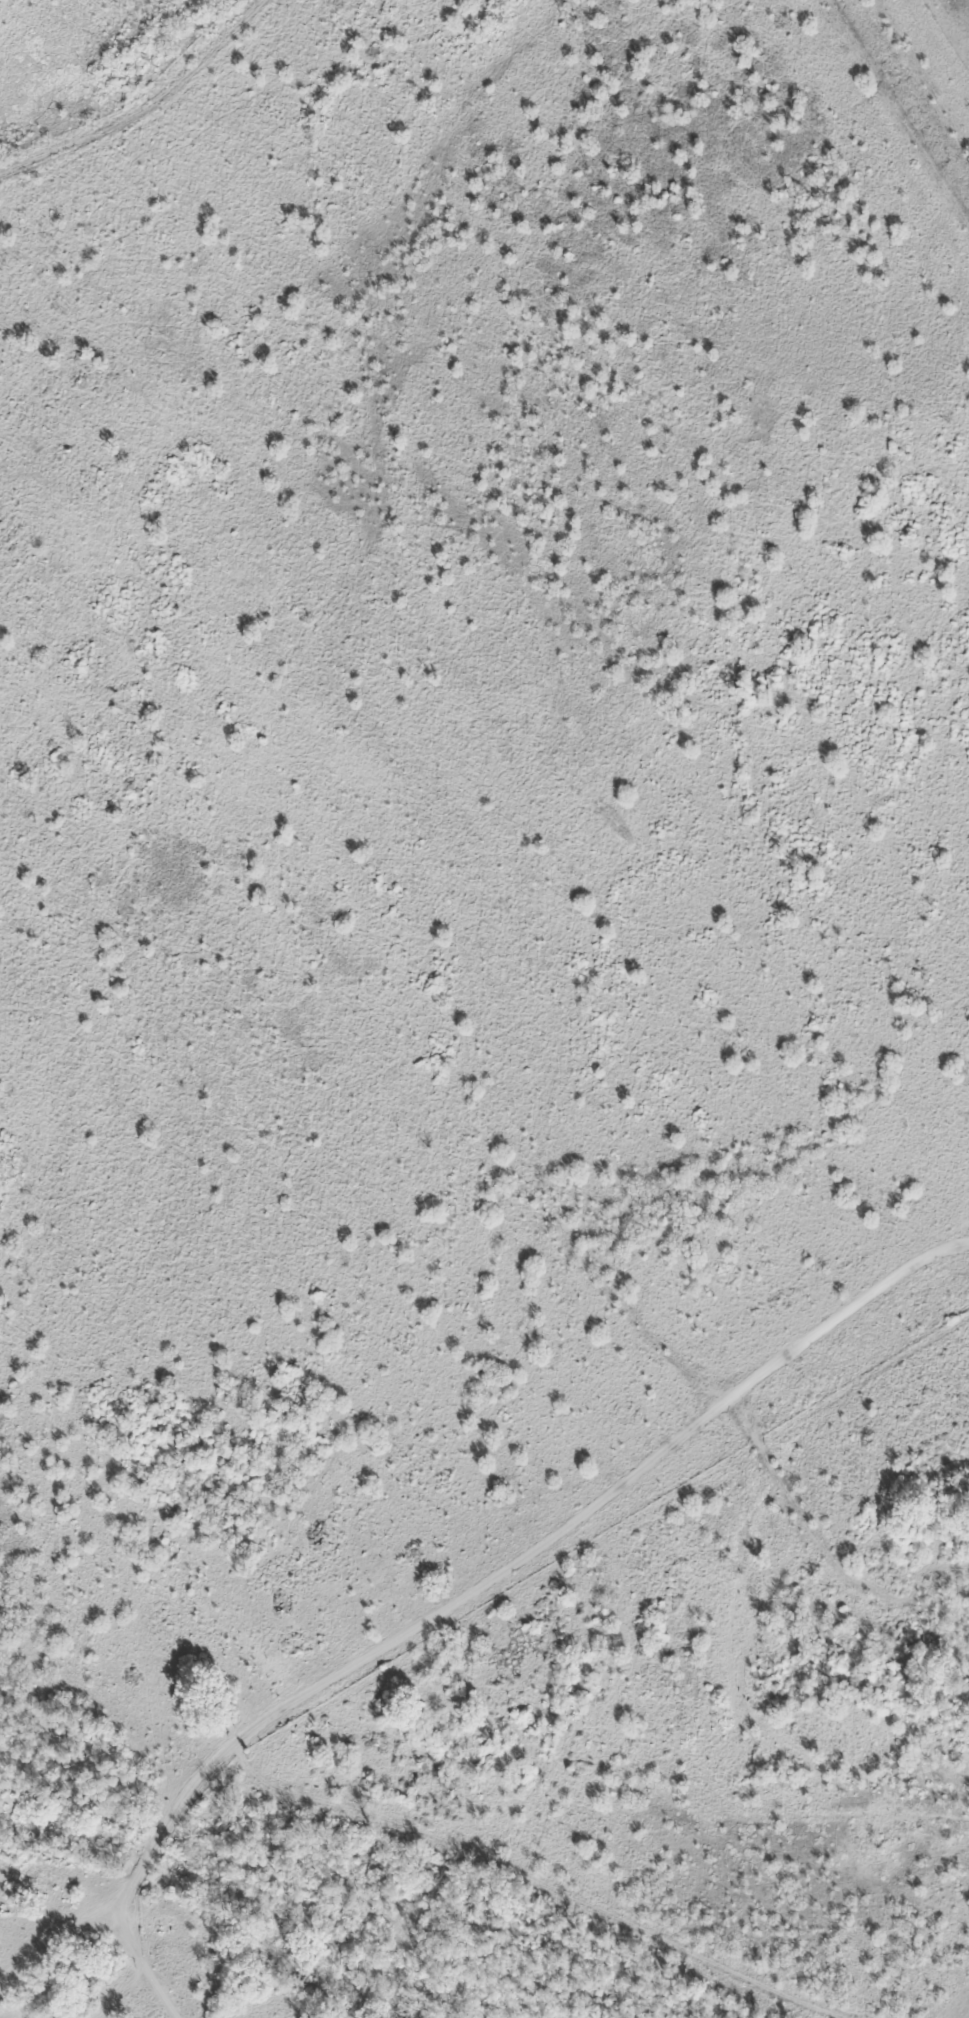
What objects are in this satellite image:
road: (595, 1503)
road: (232, 1800)
road: (657, 1939)

